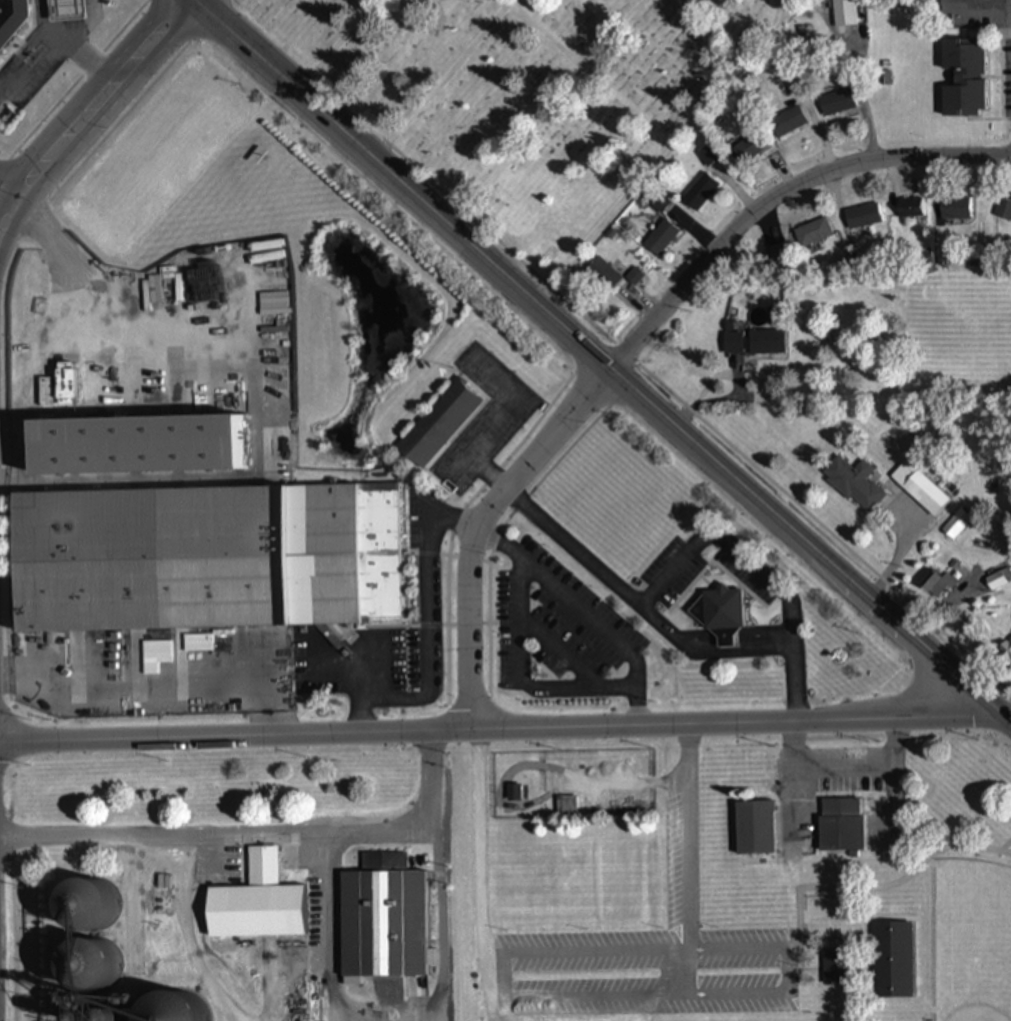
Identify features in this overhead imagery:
building: (66, 10)
building: (845, 13)
building: (11, 19)
road: (71, 45)
road: (246, 48)
building: (965, 77)
park: (522, 97)
building: (838, 102)
road: (81, 120)
building: (789, 122)
building: (750, 148)
road: (8, 190)
building: (700, 192)
building: (660, 204)
building: (911, 207)
building: (955, 207)
building: (1004, 210)
building: (863, 216)
building: (814, 232)
road: (456, 235)
building: (661, 238)
building: (778, 254)
building: (227, 262)
building: (604, 274)
building: (637, 278)
building: (753, 342)
road: (637, 347)
building: (440, 424)
building: (137, 445)
building: (854, 483)
building: (920, 488)
building: (957, 524)
road: (734, 546)
road: (812, 548)
building: (210, 563)
building: (999, 579)
building: (938, 585)
building: (720, 608)
road: (584, 615)
road: (668, 628)
road: (428, 633)
road: (290, 640)
road: (561, 655)
road: (525, 677)
road: (139, 693)
road: (505, 732)
building: (517, 792)
building: (842, 825)
building: (755, 828)
road: (256, 833)
road: (688, 859)
road: (477, 866)
park: (746, 886)
building: (261, 902)
building: (384, 919)
road: (441, 923)
road: (328, 937)
building: (893, 961)
road: (786, 964)
building: (86, 968)
building: (835, 968)

